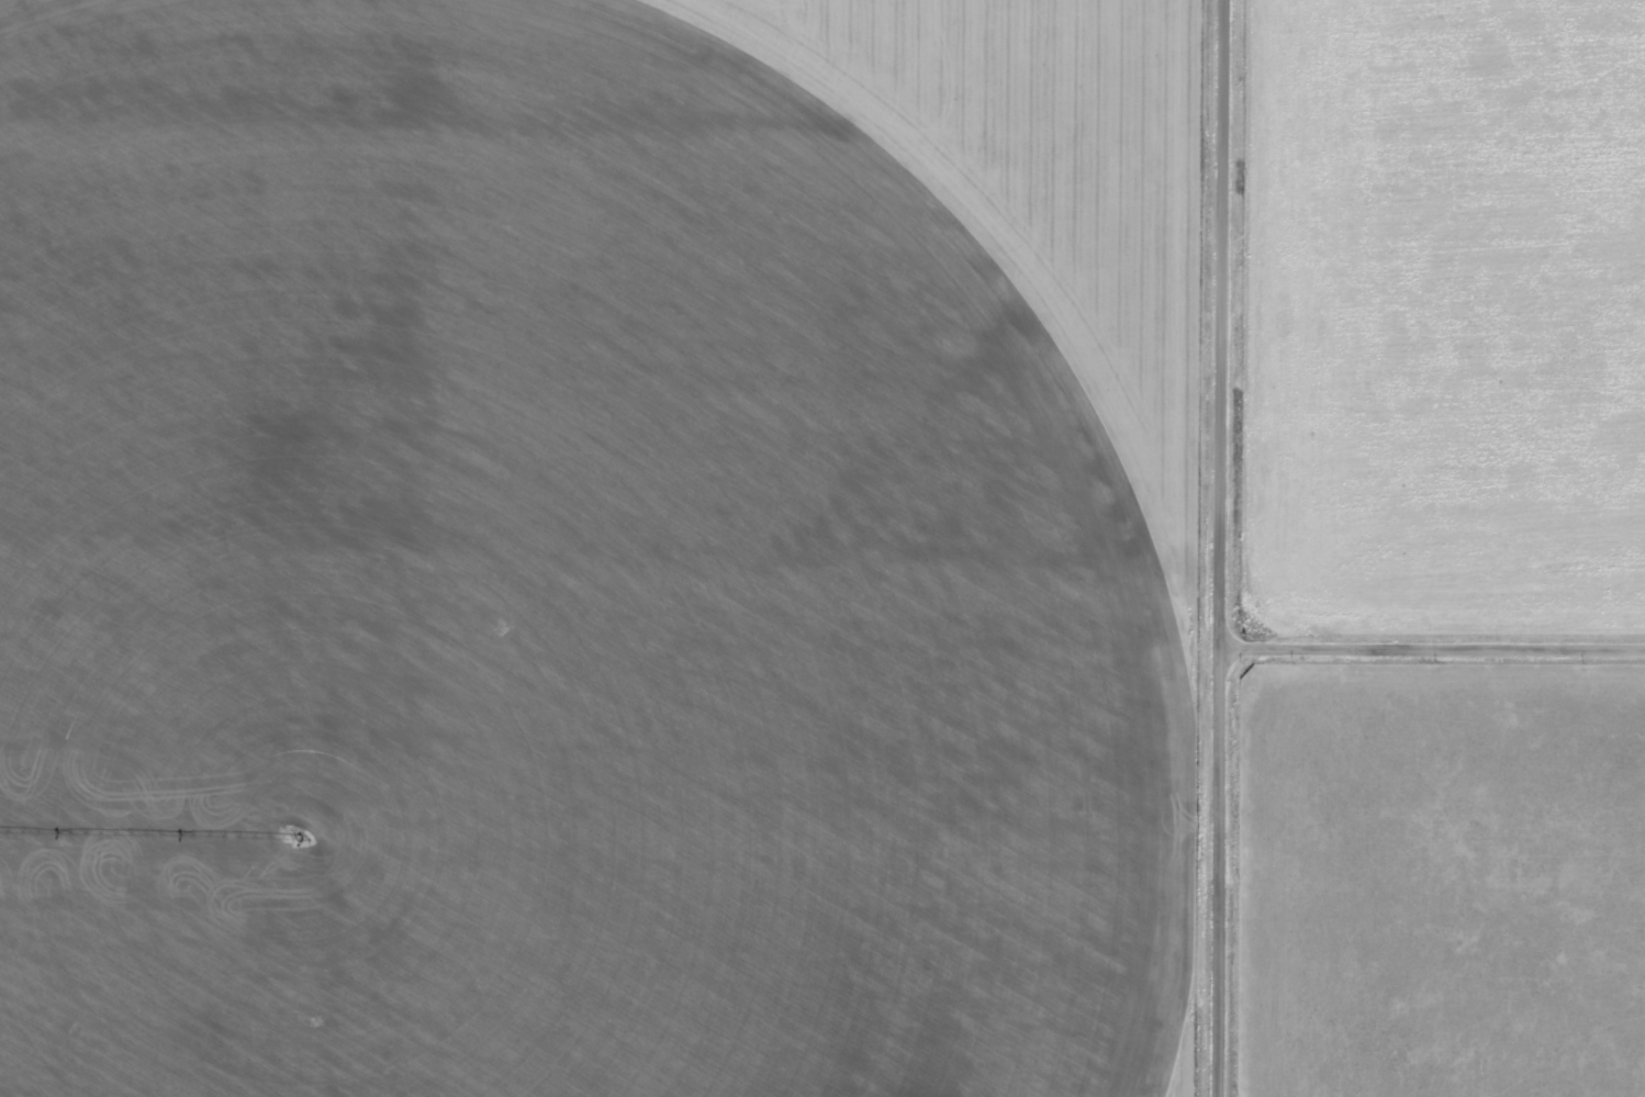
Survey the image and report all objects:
road: (1222, 227)
road: (1431, 645)
road: (1218, 775)

